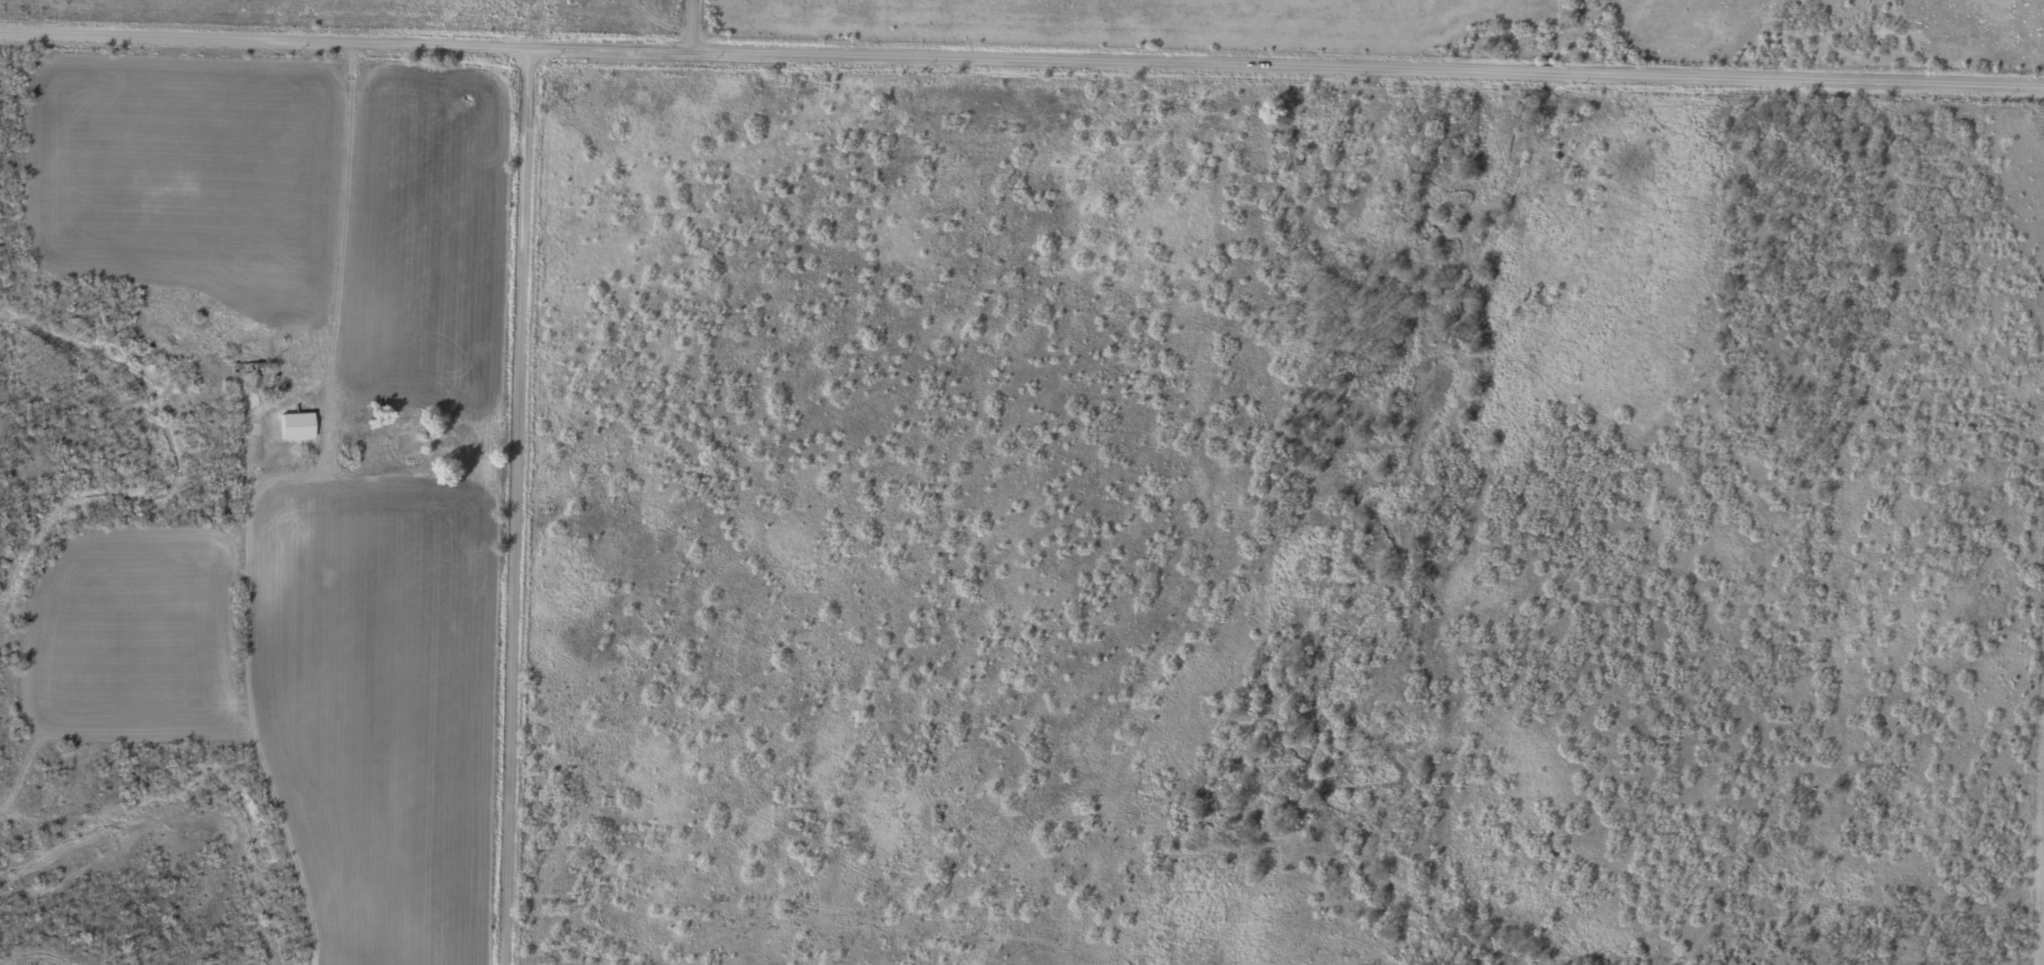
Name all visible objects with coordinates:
road: (693, 23)
road: (1022, 54)
building: (298, 427)
road: (517, 503)

